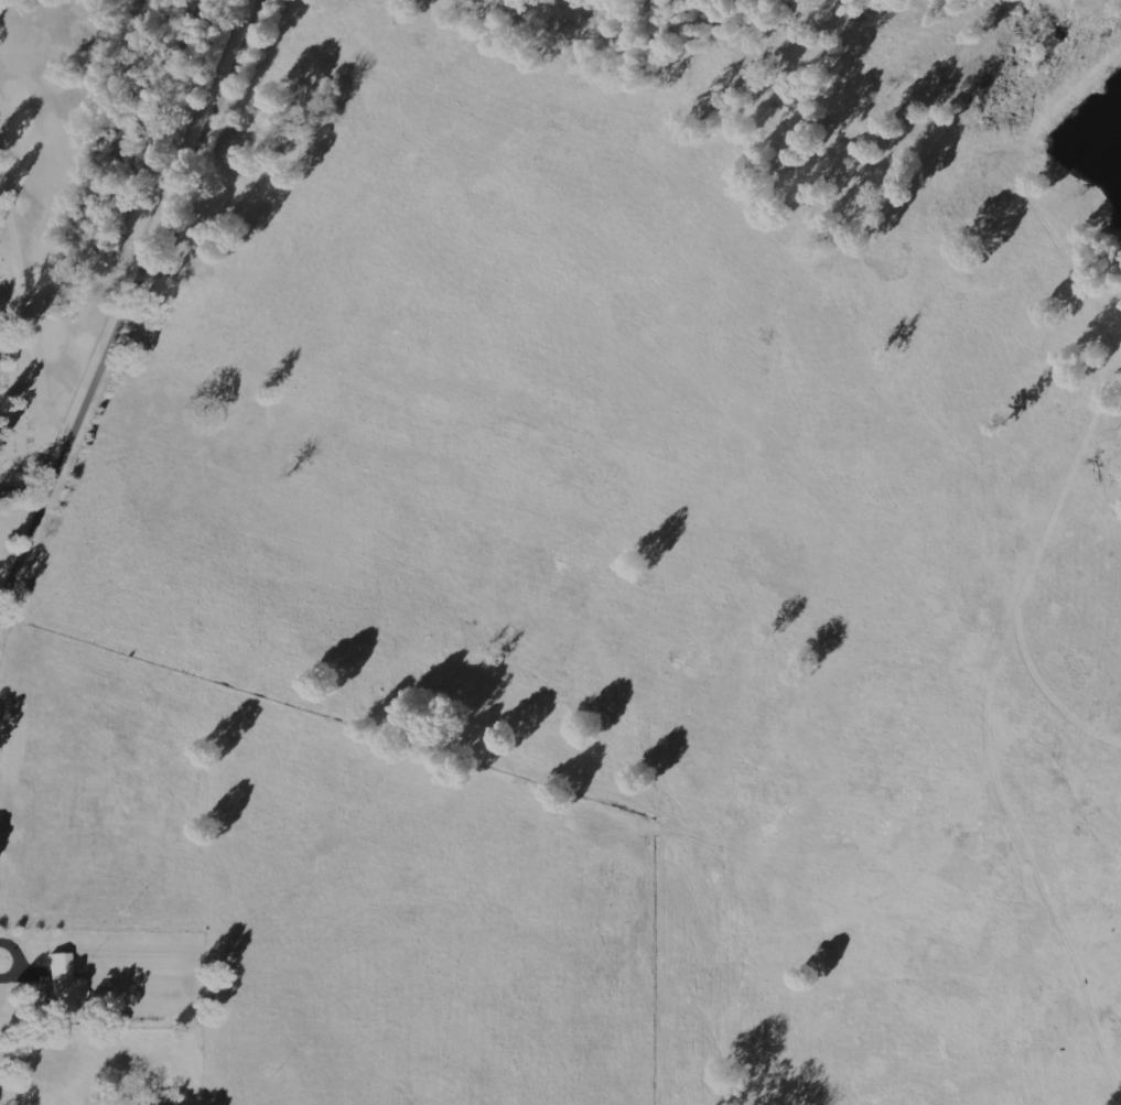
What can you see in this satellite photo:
road: (398, 90)
road: (131, 319)
building: (66, 983)

